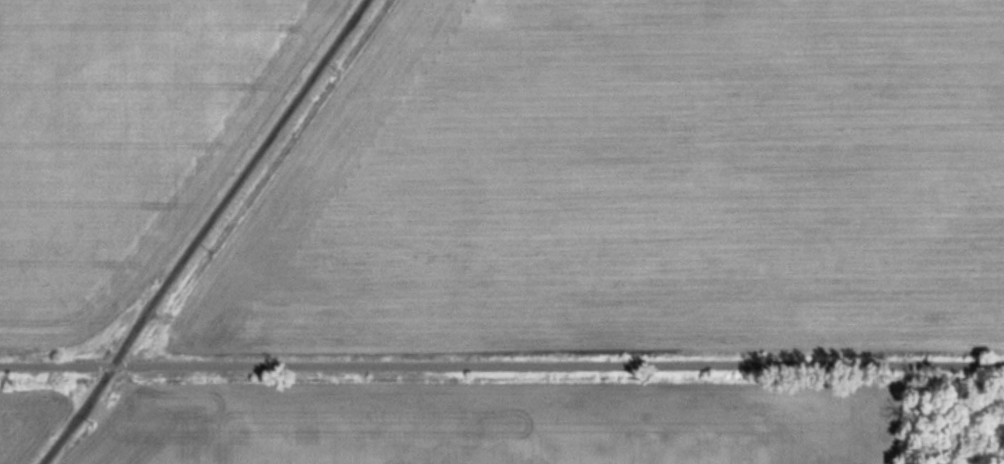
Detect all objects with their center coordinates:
road: (207, 233)
road: (502, 362)

